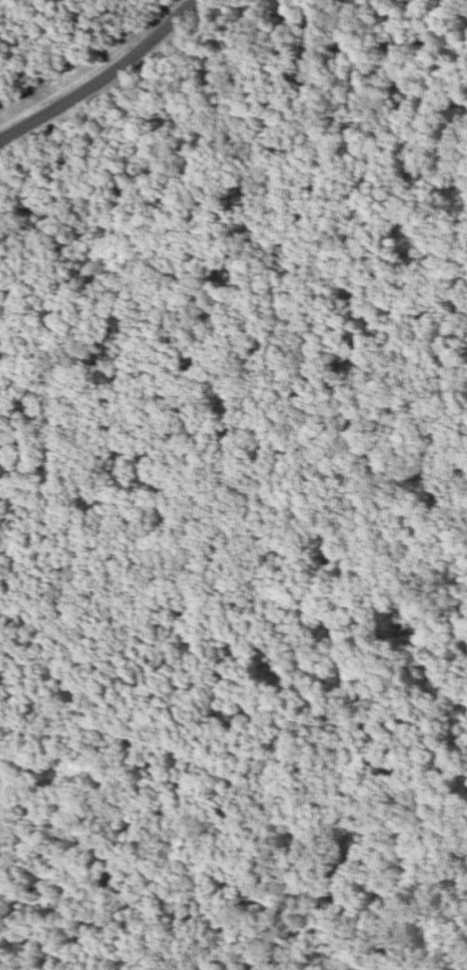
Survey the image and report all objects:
road: (105, 83)

